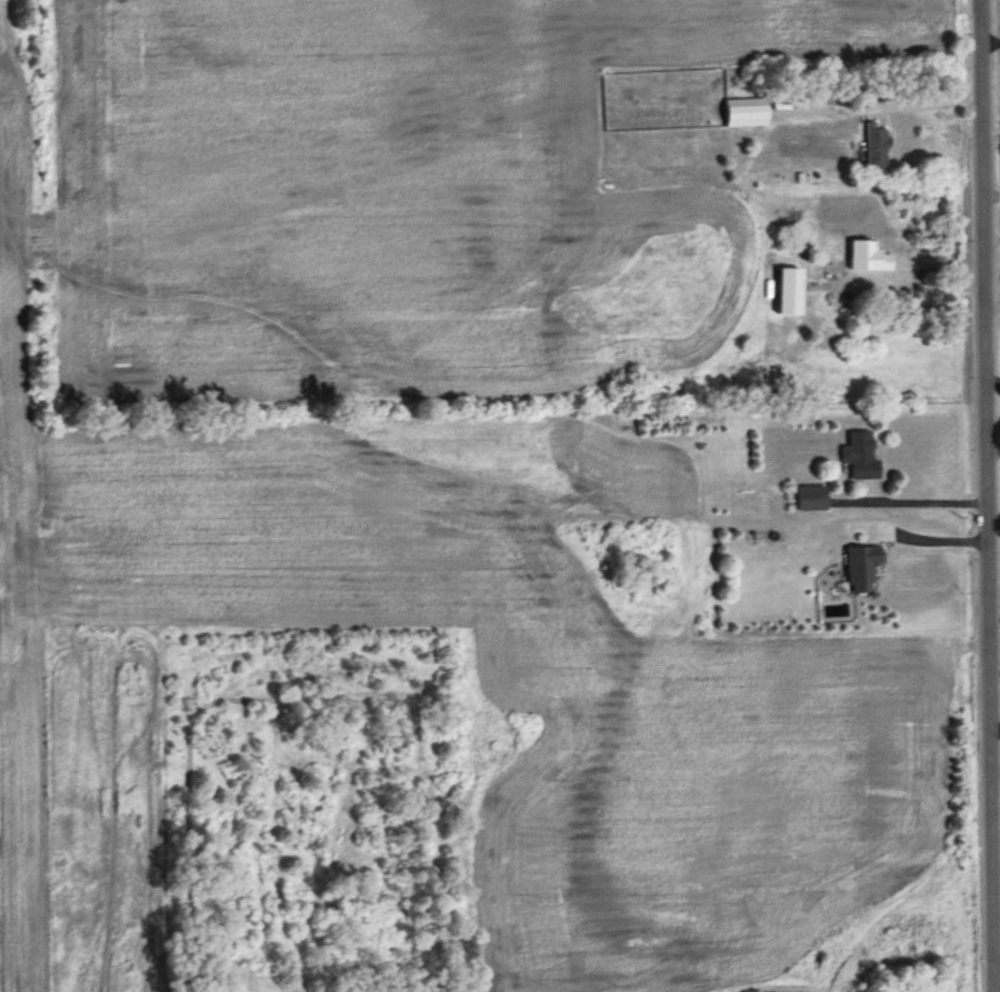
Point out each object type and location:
building: (875, 148)
building: (908, 265)
building: (805, 287)
building: (860, 457)
road: (987, 496)
building: (811, 499)
road: (908, 502)
road: (926, 539)
building: (861, 567)

